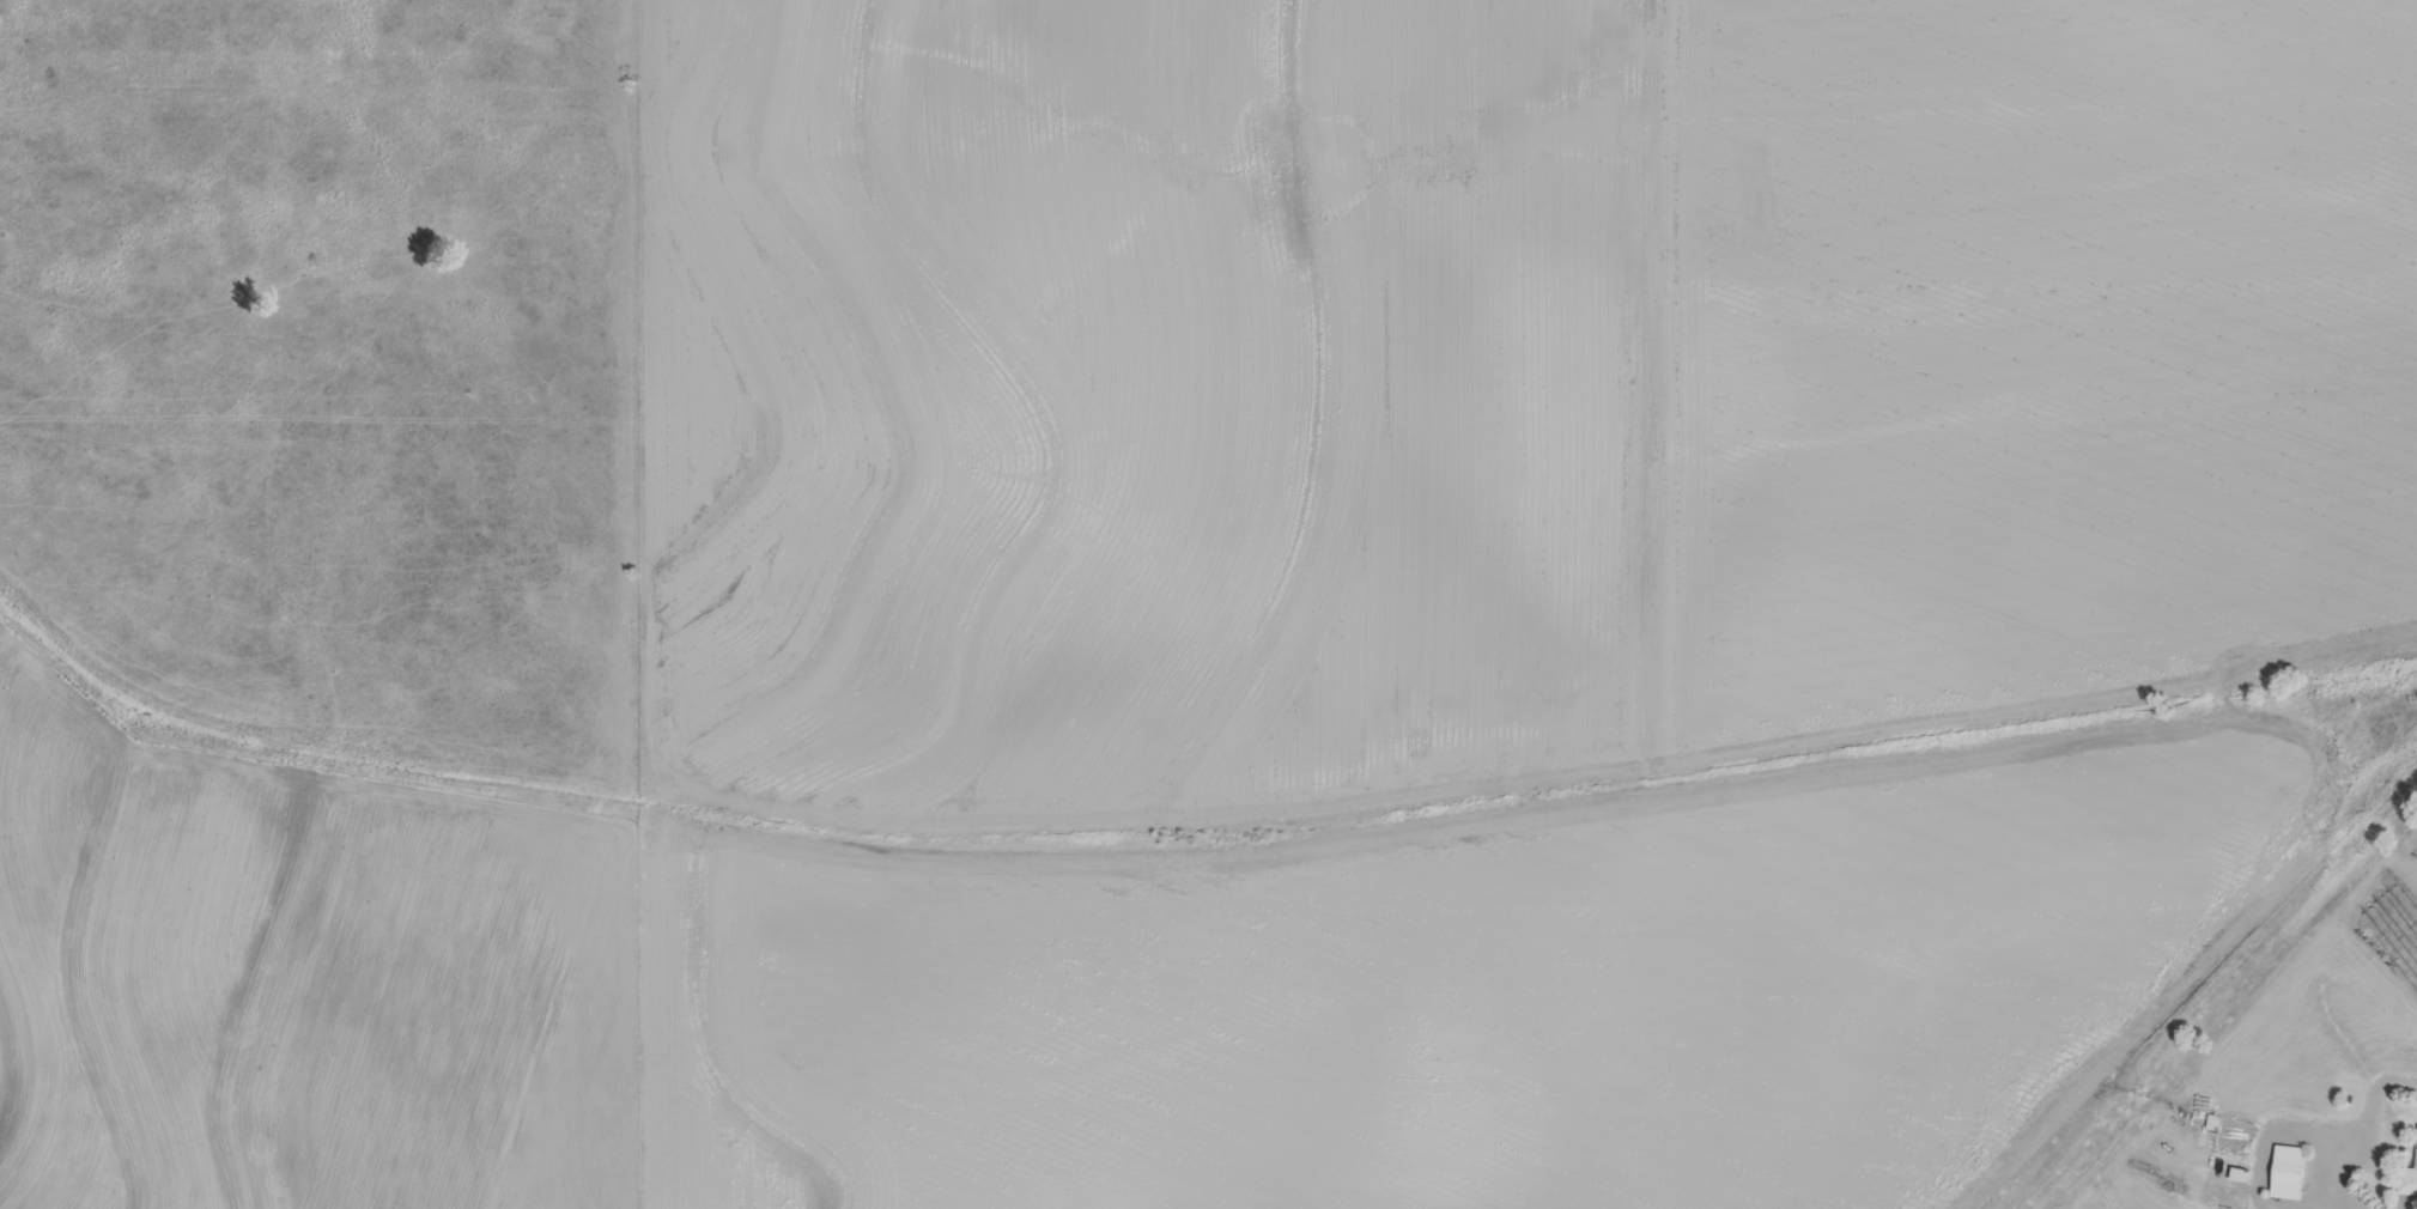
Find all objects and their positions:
road: (2358, 1129)
building: (2285, 1171)
building: (2407, 1174)
road: (2351, 1207)

